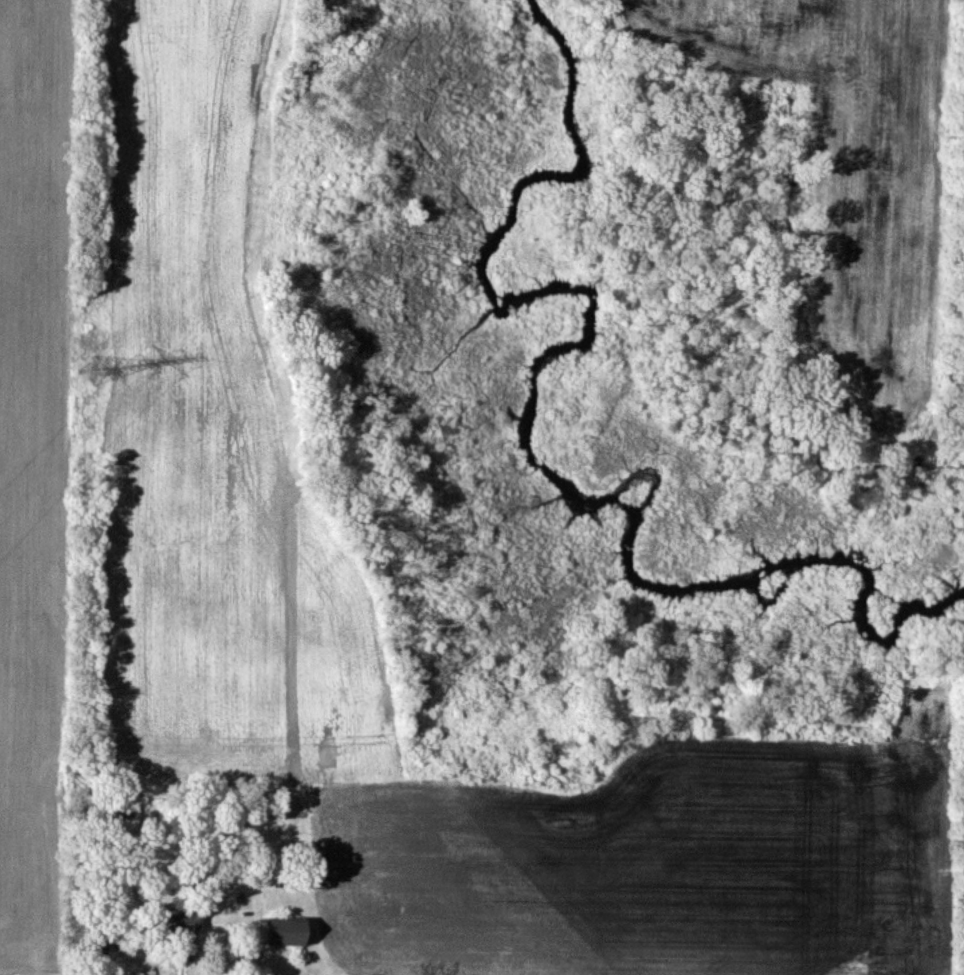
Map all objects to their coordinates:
power tower: (88, 370)
building: (281, 931)
building: (181, 949)

